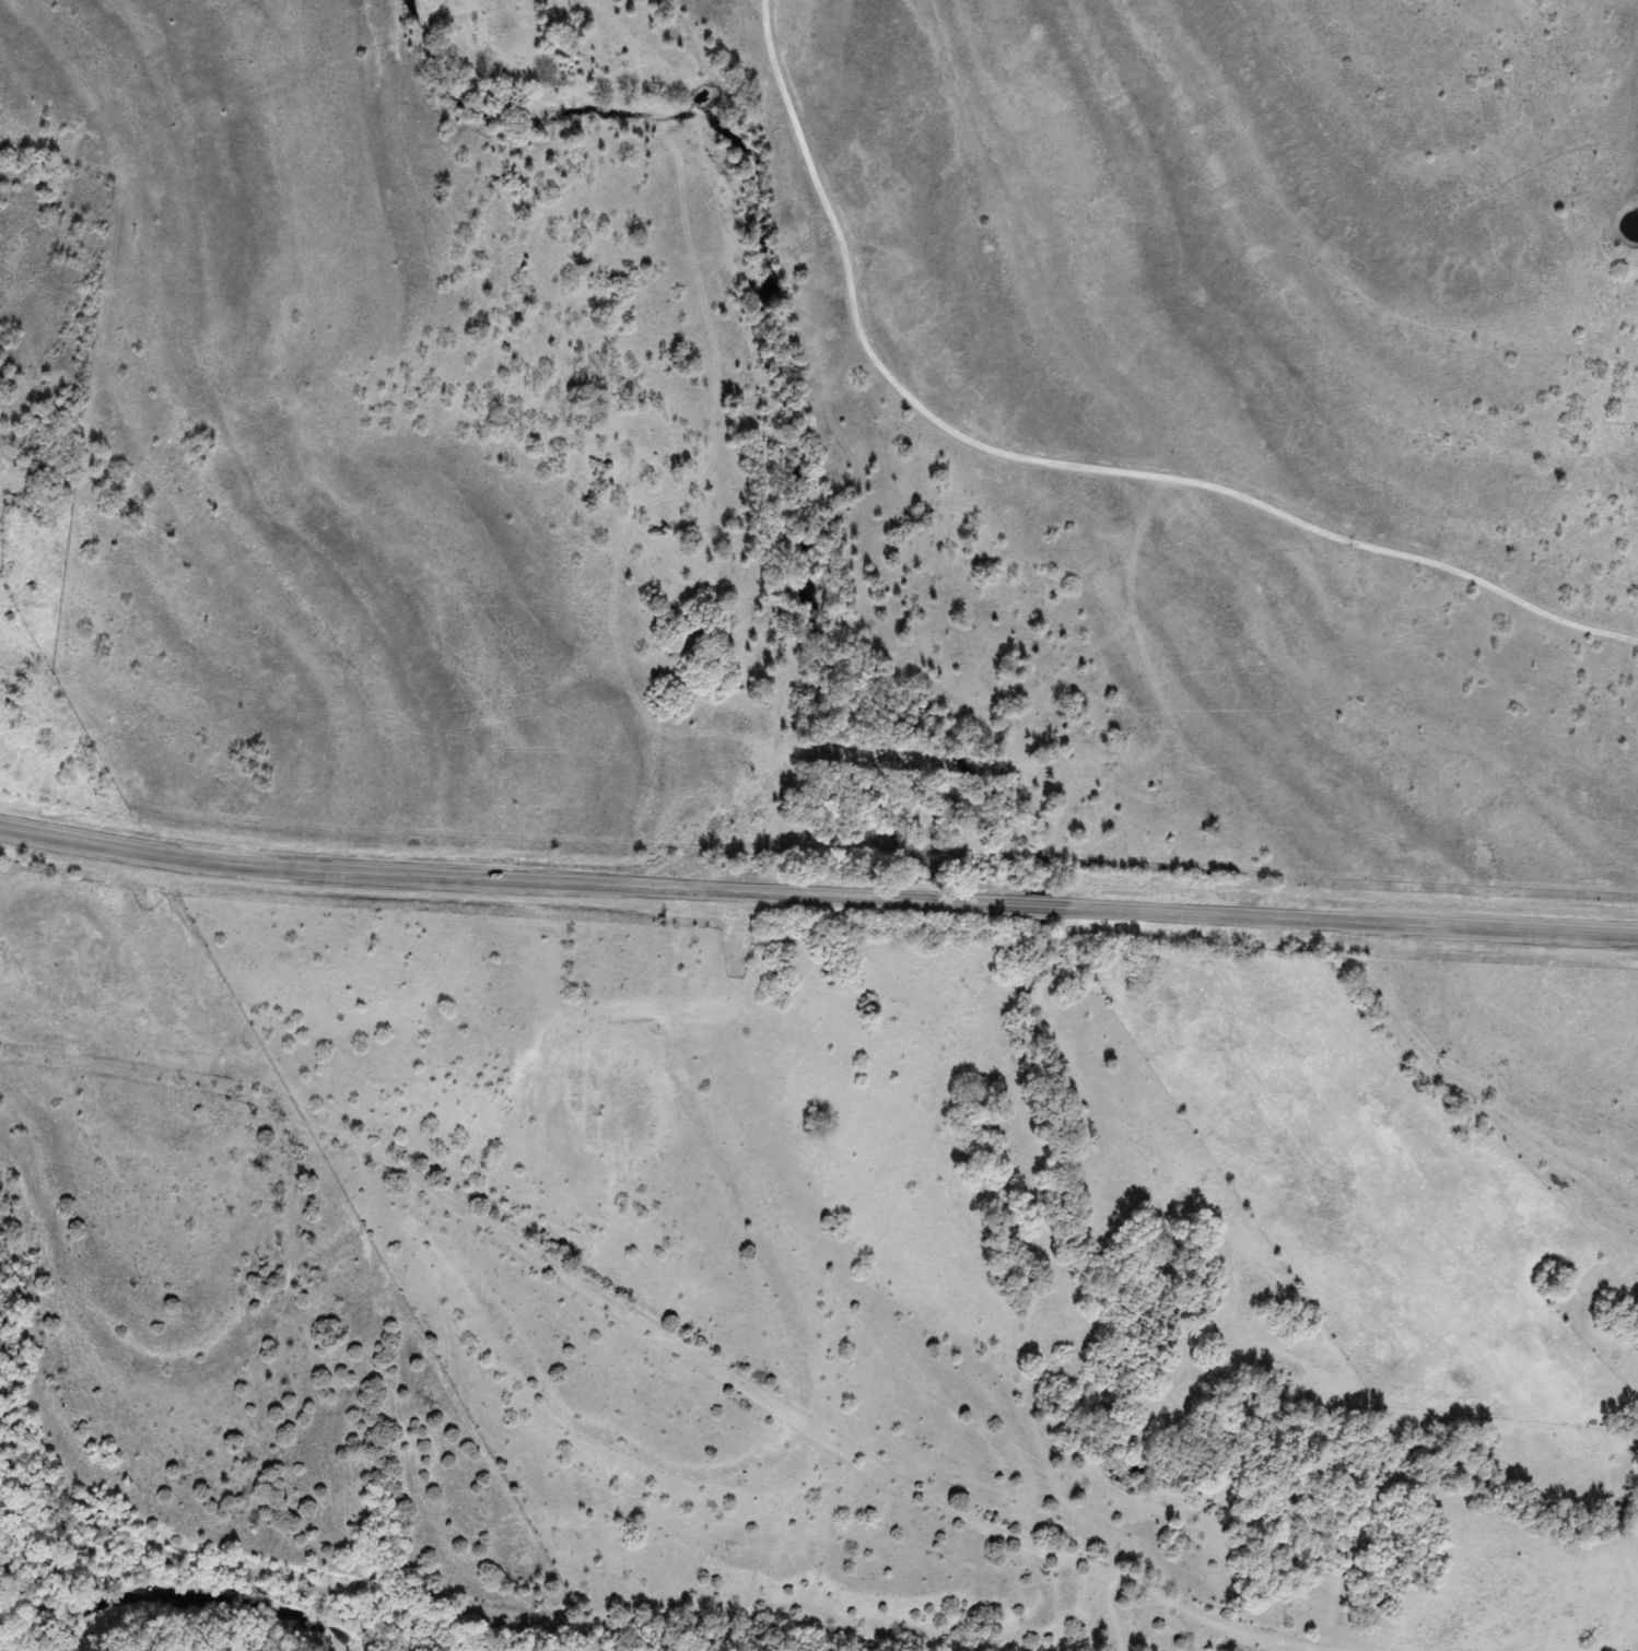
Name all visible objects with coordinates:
road: (817, 890)

